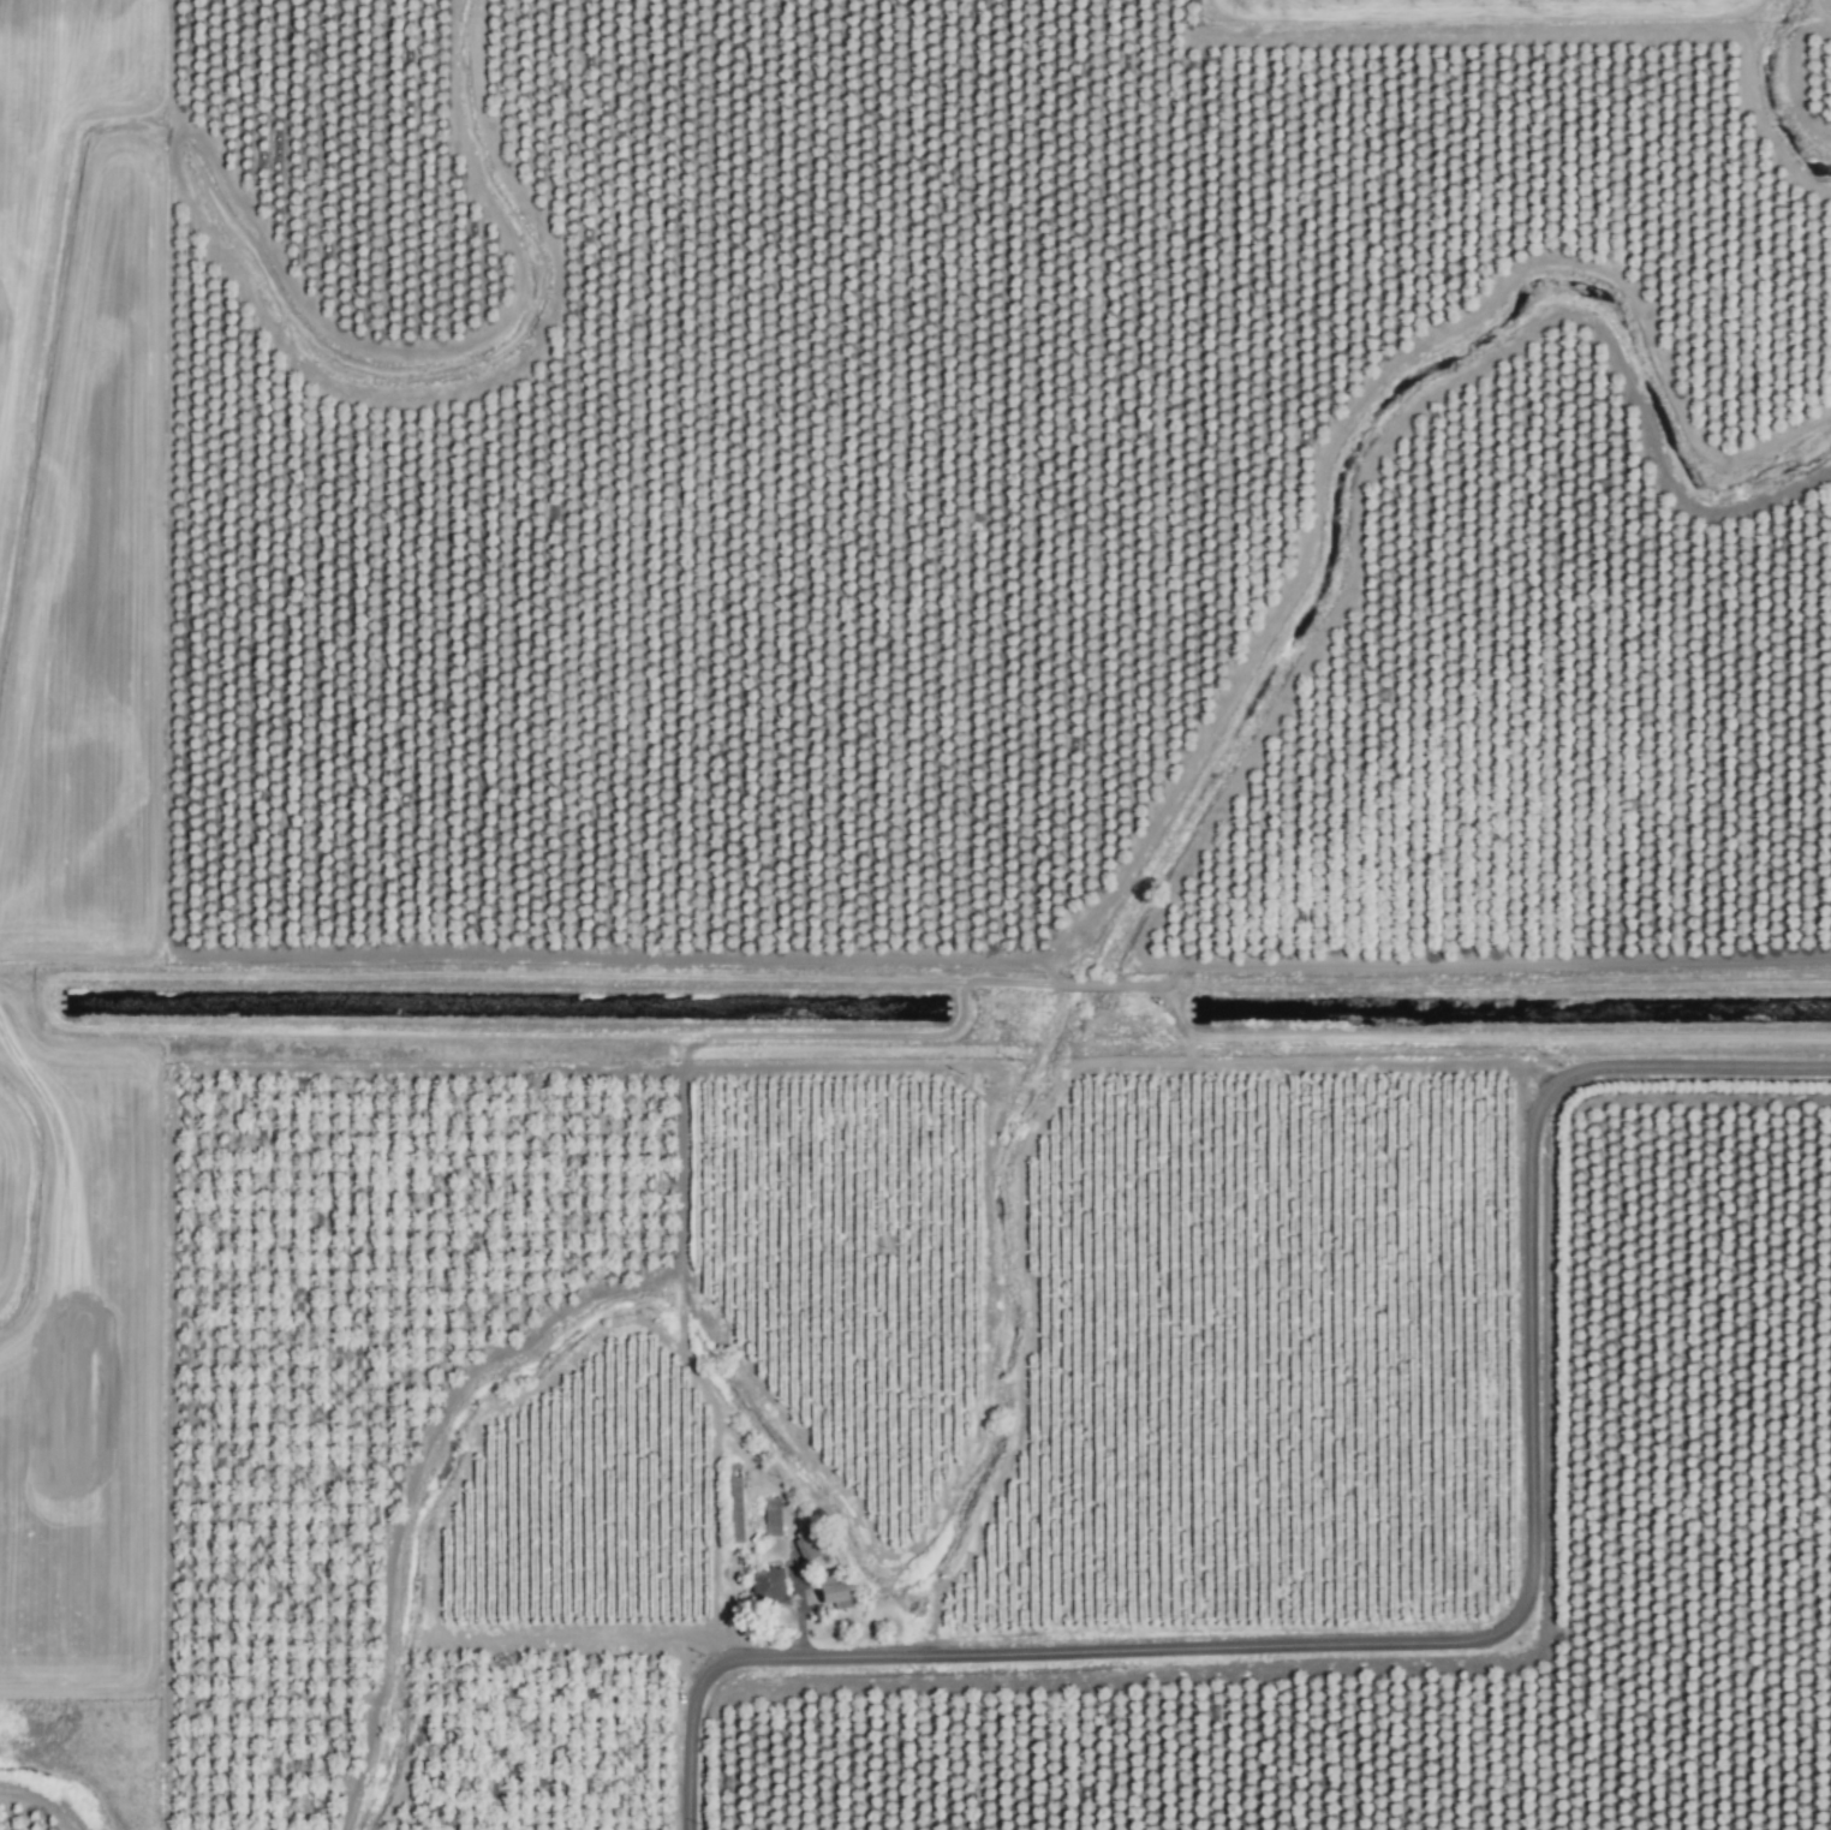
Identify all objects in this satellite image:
building: (730, 1503)
building: (769, 1515)
building: (805, 1544)
building: (763, 1586)
building: (825, 1594)
road: (1444, 1643)

